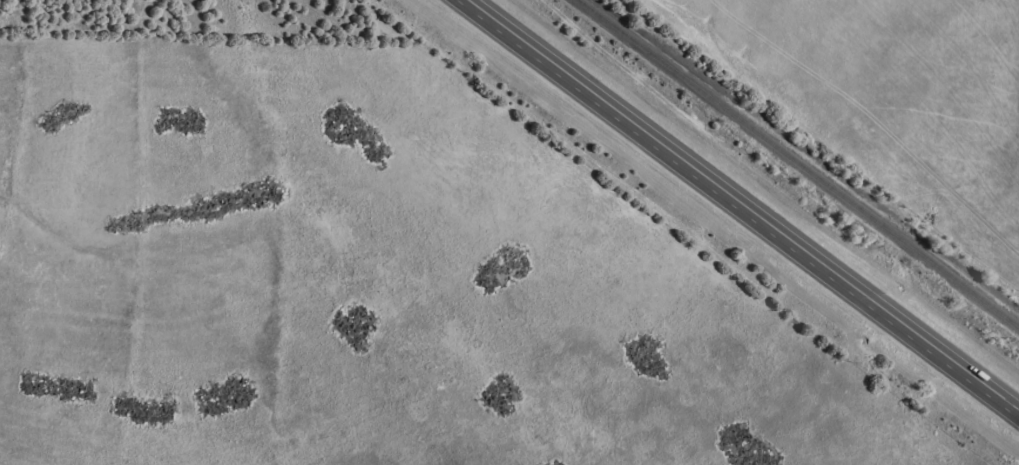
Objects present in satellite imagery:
railway: (799, 164)
road: (739, 206)

